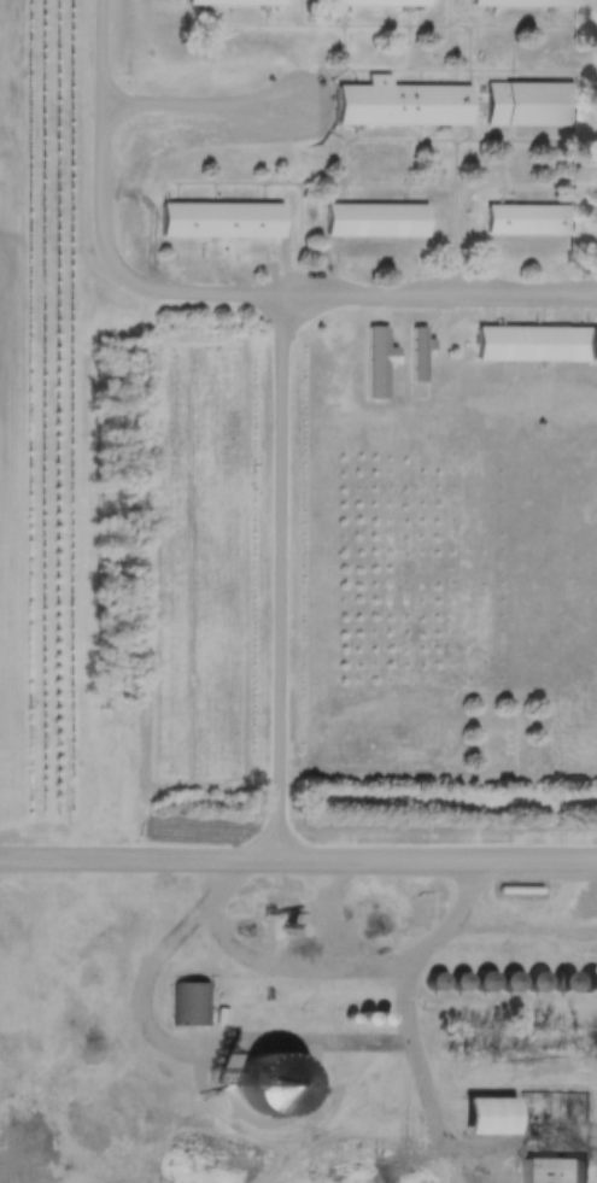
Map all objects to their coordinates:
building: (221, 1)
building: (375, 2)
building: (519, 2)
building: (397, 103)
building: (526, 103)
building: (525, 217)
building: (216, 218)
building: (373, 218)
building: (533, 341)
building: (191, 1002)
building: (481, 1114)

